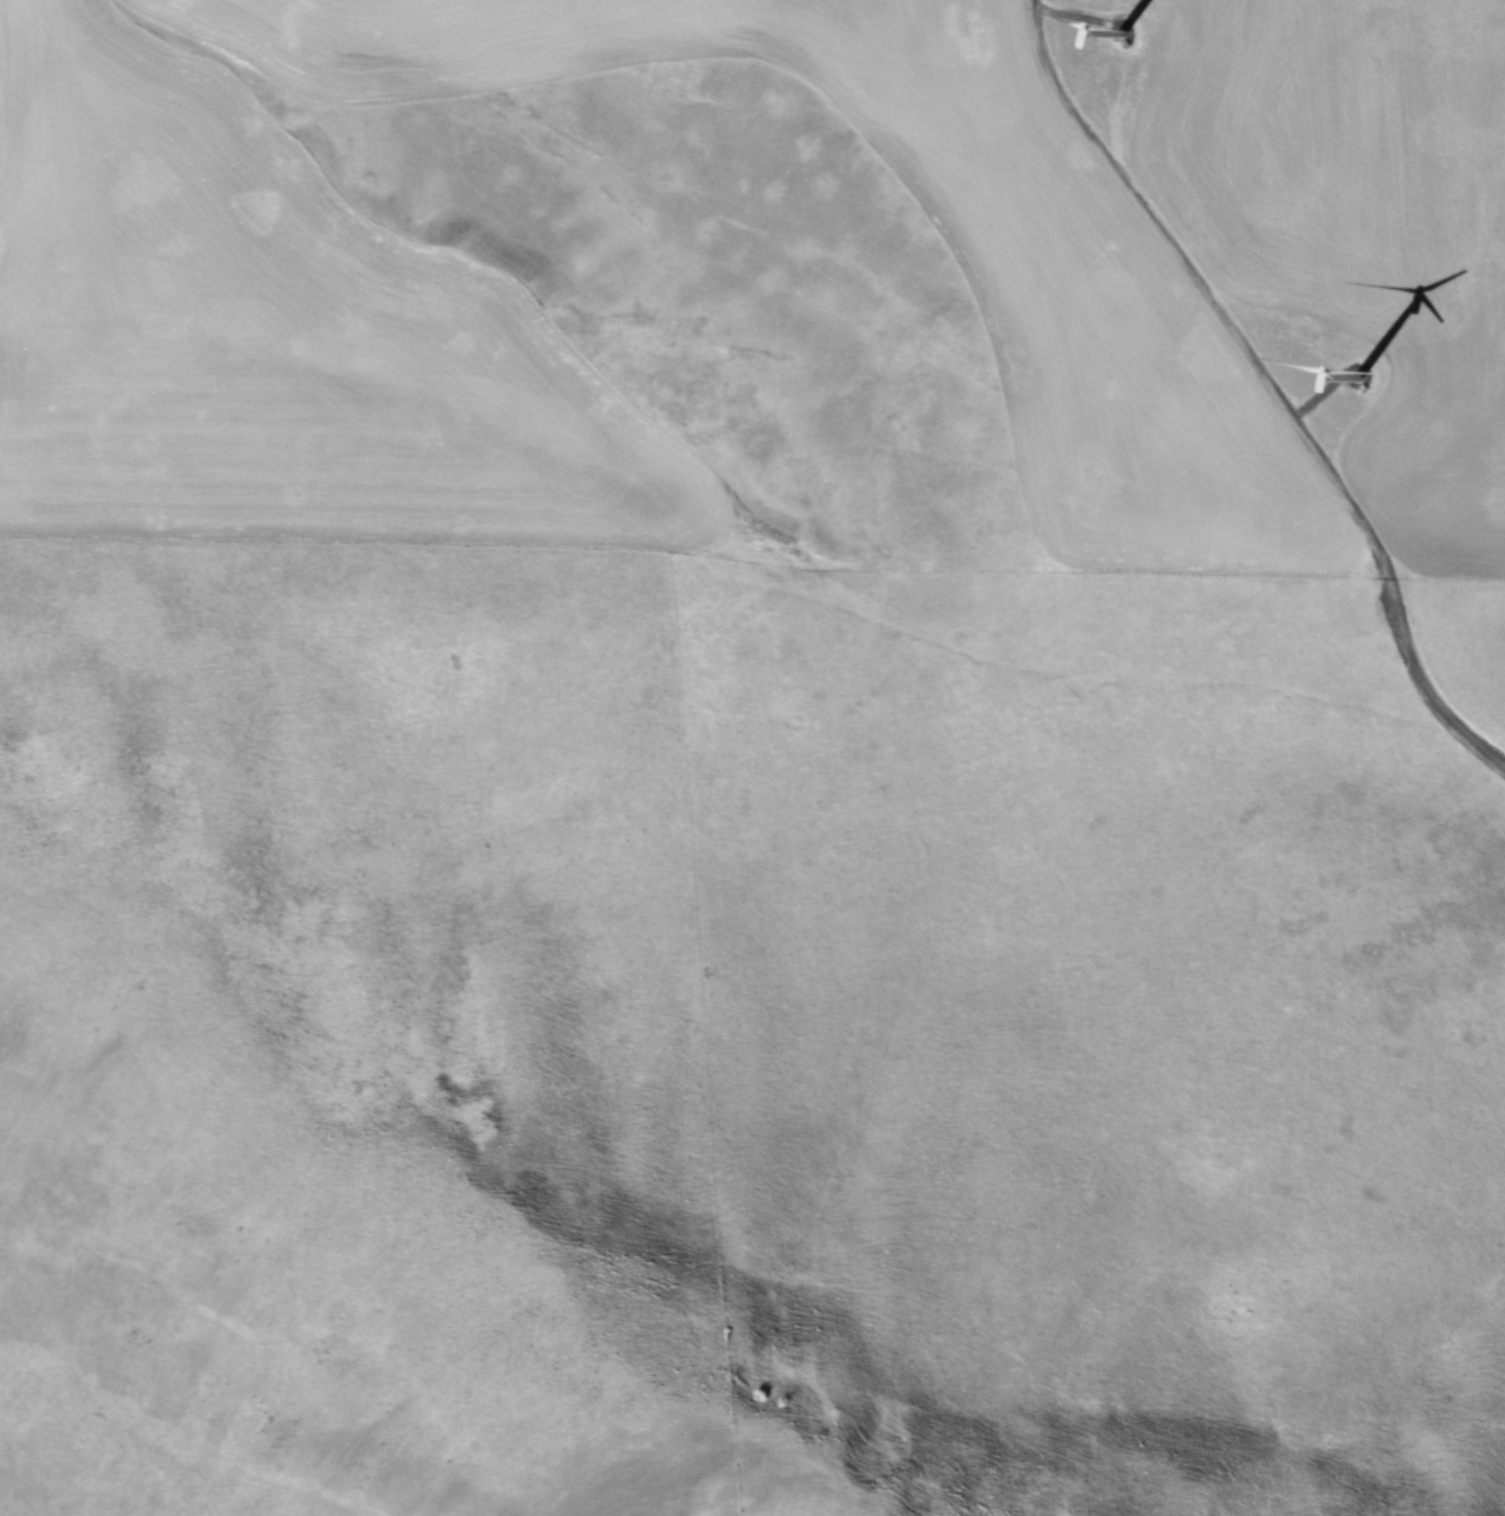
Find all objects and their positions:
wind turbine: (1117, 32)
wind turbine: (1355, 375)
road: (1270, 383)

